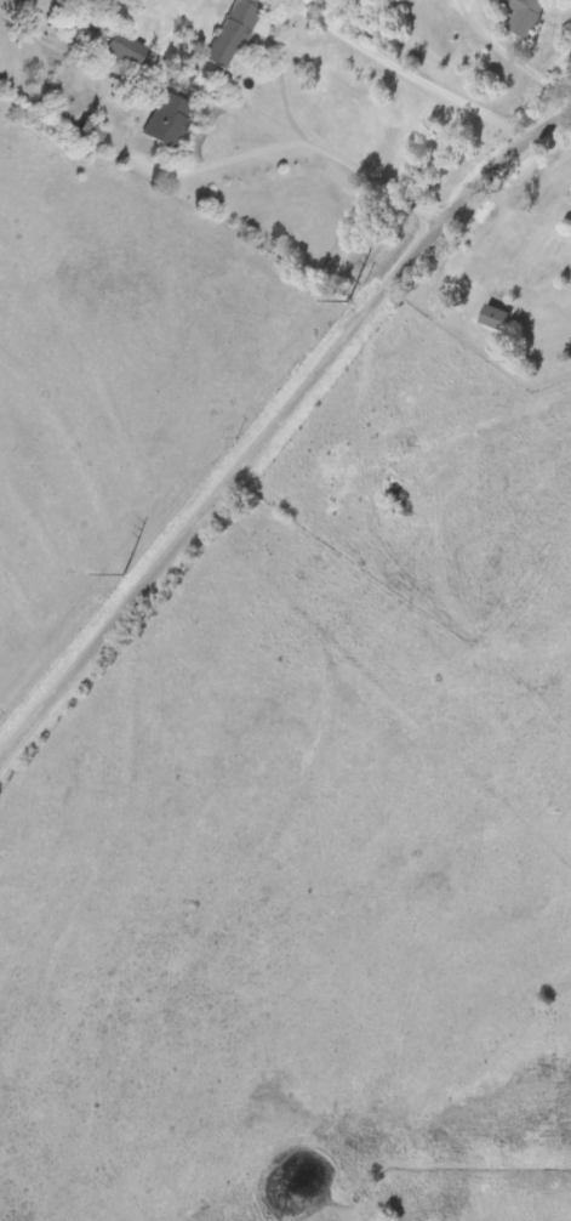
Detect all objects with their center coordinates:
building: (526, 15)
building: (233, 32)
building: (116, 42)
building: (182, 79)
building: (169, 118)
road: (332, 119)
building: (90, 129)
road: (171, 204)
building: (495, 316)
road: (276, 432)

